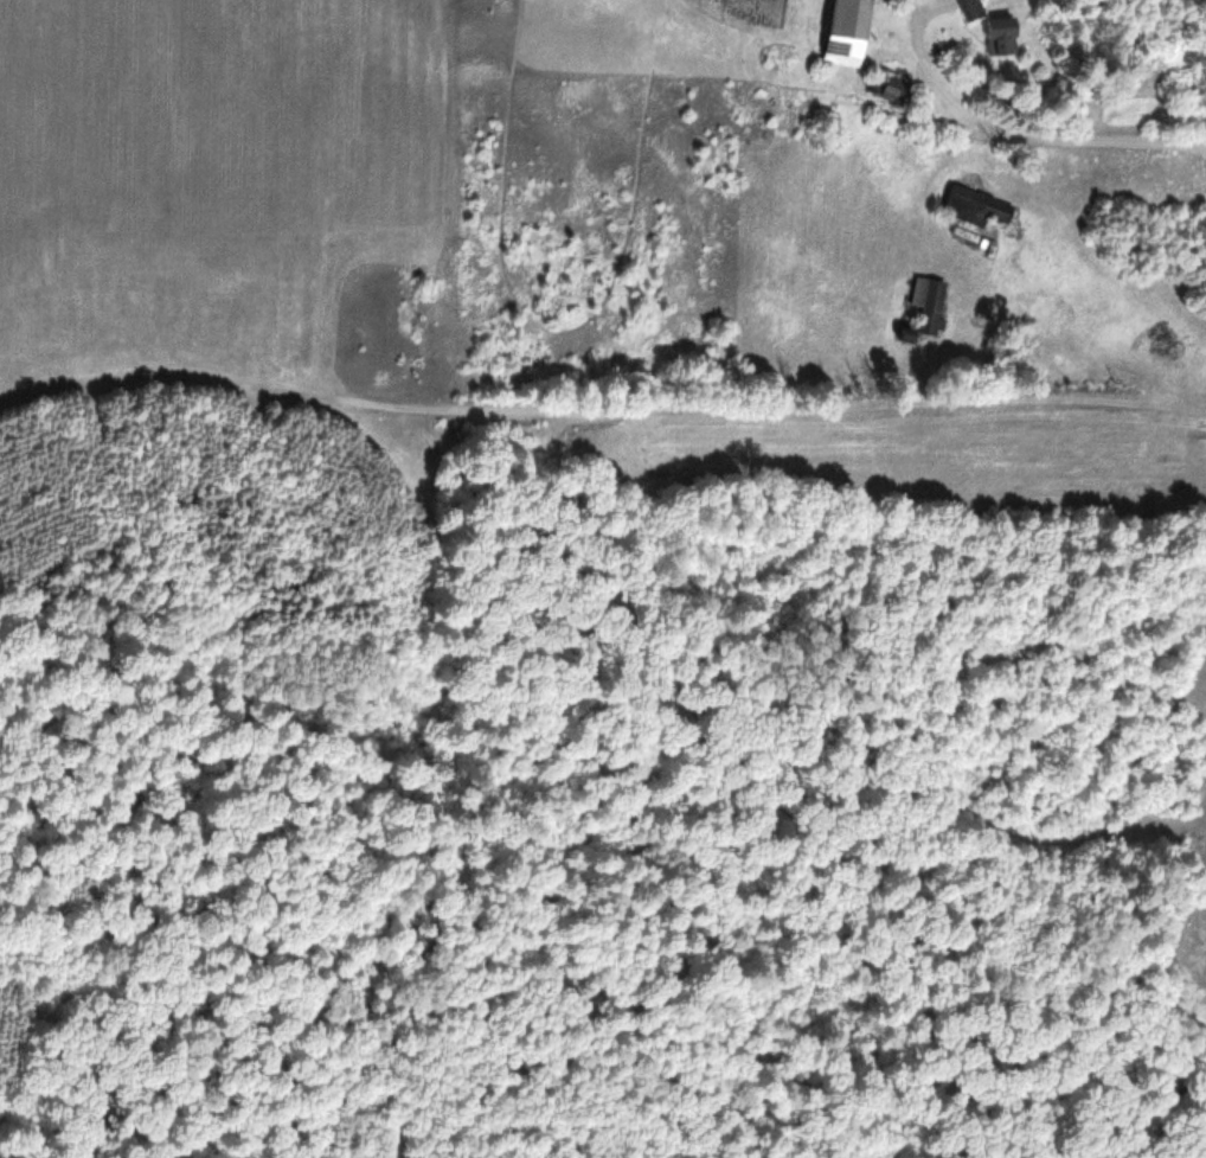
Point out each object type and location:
building: (973, 8)
building: (849, 32)
building: (1002, 36)
road: (1025, 135)
building: (977, 206)
building: (930, 305)

